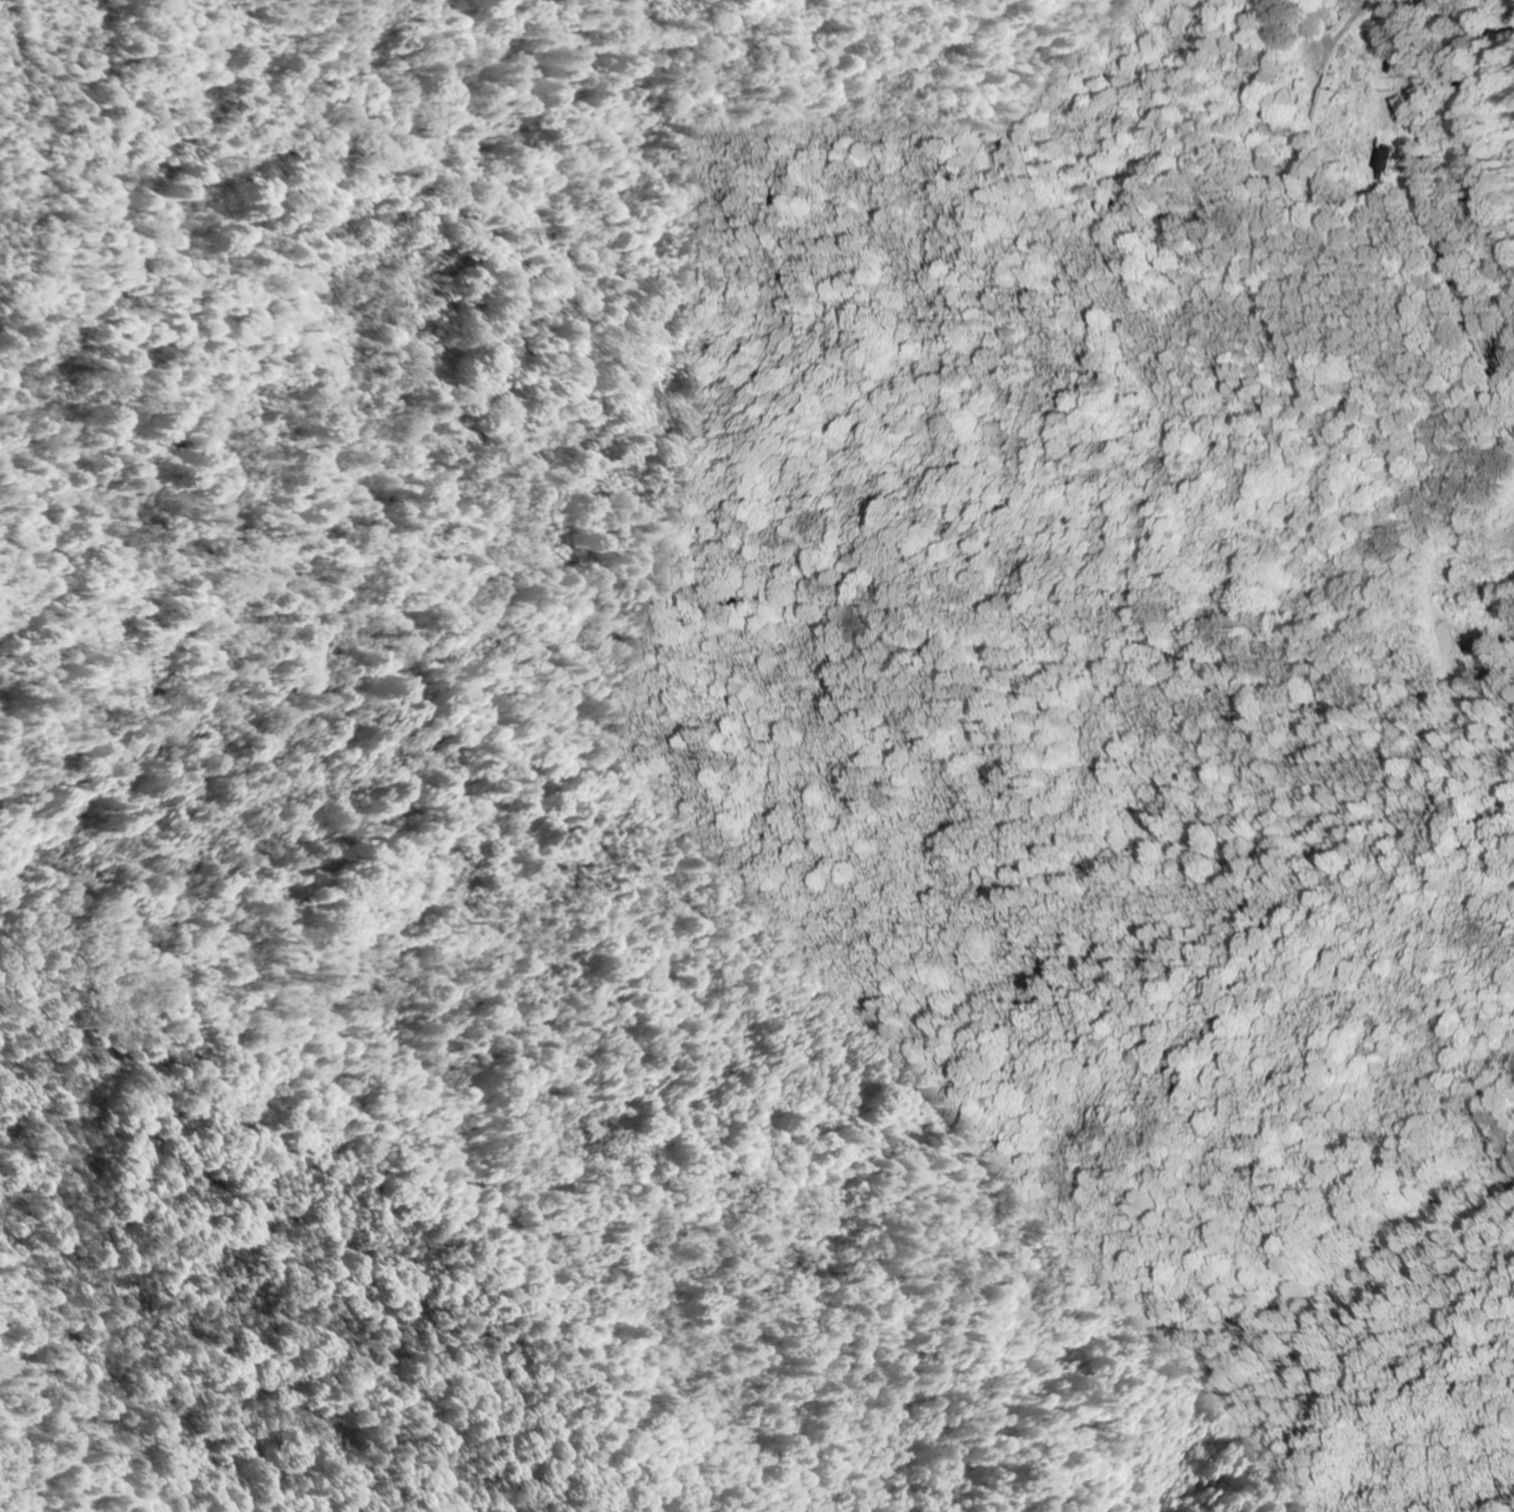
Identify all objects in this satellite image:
building: (1396, 159)

